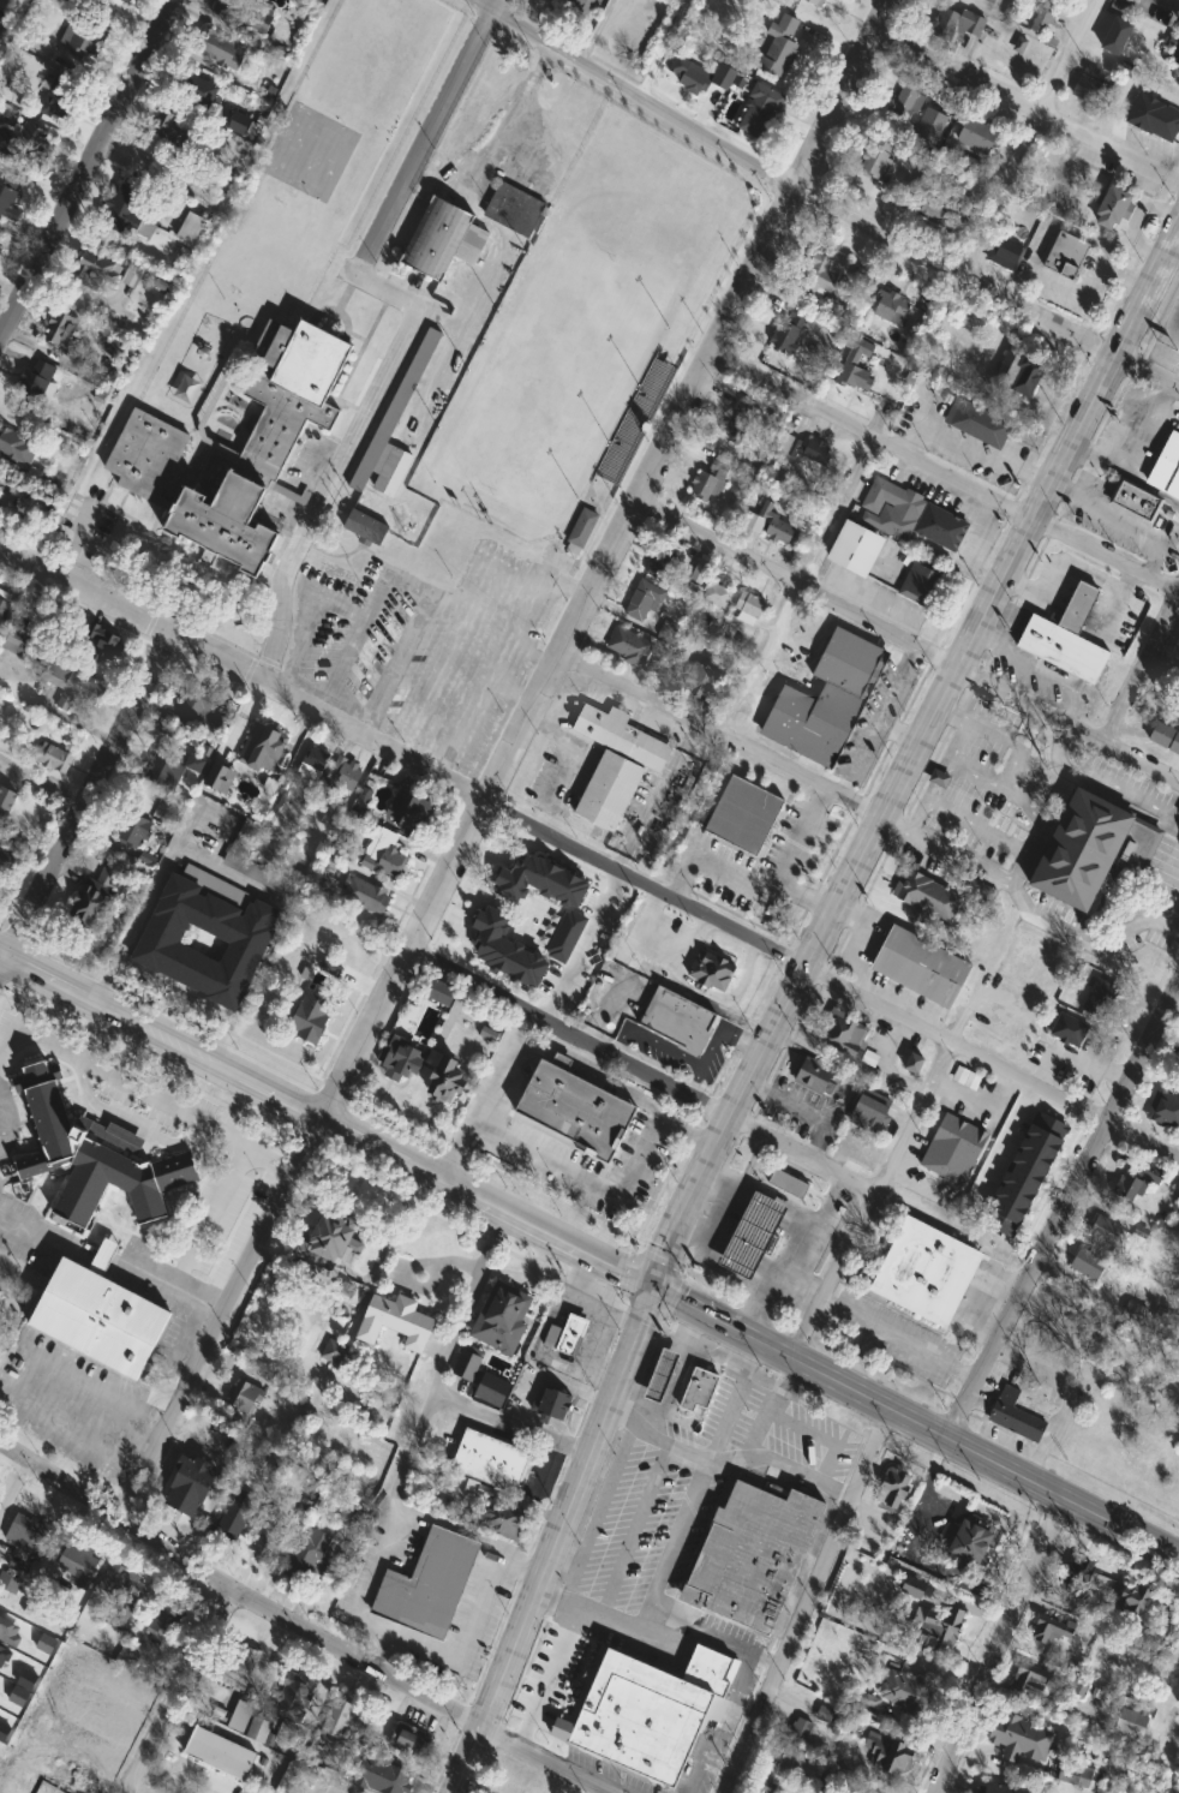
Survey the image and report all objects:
building: (815, 2)
building: (983, 2)
building: (576, 6)
building: (1121, 7)
building: (1012, 12)
building: (246, 13)
building: (956, 24)
building: (1041, 24)
building: (1115, 34)
building: (78, 38)
building: (1174, 46)
road: (662, 47)
building: (779, 47)
building: (221, 50)
road: (1069, 55)
building: (700, 73)
building: (1089, 86)
building: (908, 98)
building: (55, 100)
road: (1027, 101)
building: (760, 112)
building: (1151, 114)
building: (188, 118)
building: (929, 124)
building: (977, 136)
building: (20, 142)
park: (310, 150)
building: (878, 159)
road: (88, 165)
building: (11, 195)
building: (1112, 204)
road: (824, 205)
building: (515, 207)
building: (941, 209)
building: (128, 210)
road: (1133, 220)
building: (729, 223)
building: (192, 227)
road: (498, 233)
building: (443, 238)
building: (2, 249)
building: (714, 251)
building: (1066, 252)
building: (1004, 253)
building: (96, 271)
building: (132, 276)
building: (821, 277)
building: (700, 280)
road: (1019, 286)
road: (1093, 294)
building: (887, 305)
road: (438, 316)
road: (411, 324)
building: (62, 330)
building: (789, 330)
building: (851, 370)
building: (1021, 375)
park: (552, 379)
building: (405, 386)
building: (37, 387)
road: (209, 404)
building: (977, 420)
road: (179, 422)
building: (740, 424)
building: (17, 446)
road: (971, 447)
building: (806, 450)
building: (146, 454)
building: (616, 459)
building: (1166, 468)
road: (945, 470)
building: (0, 474)
parking lot: (301, 477)
building: (708, 482)
building: (1135, 501)
building: (892, 506)
parking lot: (88, 525)
building: (365, 525)
building: (940, 525)
building: (774, 527)
building: (580, 528)
road: (77, 540)
building: (854, 545)
building: (663, 562)
building: (921, 579)
road: (806, 588)
road: (432, 590)
building: (717, 593)
building: (645, 599)
building: (748, 605)
building: (1077, 608)
building: (2, 609)
road: (353, 640)
building: (17, 643)
building: (104, 644)
road: (906, 644)
parking lot: (427, 645)
building: (628, 647)
building: (1063, 650)
road: (402, 652)
road: (1141, 664)
road: (1033, 668)
building: (701, 679)
road: (896, 683)
building: (71, 685)
building: (826, 700)
building: (193, 706)
road: (474, 710)
road: (951, 711)
road: (1030, 727)
road: (993, 731)
building: (621, 734)
road: (717, 734)
road: (868, 737)
building: (50, 757)
road: (502, 759)
building: (313, 764)
building: (163, 772)
building: (343, 776)
road: (38, 777)
road: (1101, 781)
parking lot: (987, 785)
building: (606, 788)
road: (654, 794)
road: (78, 795)
road: (475, 796)
building: (5, 805)
building: (409, 812)
building: (744, 817)
building: (245, 835)
building: (1090, 847)
road: (1015, 848)
building: (383, 853)
road: (789, 859)
building: (7, 861)
road: (1019, 867)
road: (719, 868)
road: (225, 875)
building: (539, 879)
building: (365, 896)
building: (924, 898)
building: (94, 901)
road: (144, 901)
road: (1023, 901)
building: (240, 931)
building: (565, 934)
road: (582, 944)
building: (505, 948)
building: (921, 967)
building: (653, 970)
building: (712, 972)
building: (439, 992)
building: (1099, 997)
road: (789, 999)
road: (192, 1000)
building: (309, 1017)
building: (677, 1022)
building: (1069, 1030)
road: (94, 1034)
building: (842, 1034)
building: (400, 1062)
building: (912, 1064)
road: (642, 1071)
building: (815, 1077)
building: (442, 1080)
road: (140, 1089)
road: (486, 1098)
road: (1065, 1101)
building: (571, 1108)
building: (1166, 1111)
building: (870, 1113)
road: (130, 1120)
road: (323, 1122)
building: (953, 1147)
road: (645, 1148)
building: (89, 1157)
building: (796, 1182)
building: (1137, 1182)
road: (719, 1194)
road: (874, 1201)
road: (1059, 1209)
road: (760, 1213)
road: (209, 1214)
road: (792, 1229)
building: (1105, 1230)
road: (19, 1231)
road: (701, 1236)
building: (750, 1236)
building: (327, 1237)
road: (795, 1256)
road: (741, 1257)
building: (1088, 1263)
building: (924, 1269)
road: (790, 1283)
road: (173, 1285)
traffic signals: (648, 1286)
building: (100, 1315)
building: (503, 1320)
building: (394, 1322)
building: (565, 1335)
road: (899, 1338)
road: (688, 1350)
building: (466, 1365)
road: (14, 1368)
building: (659, 1376)
road: (438, 1381)
building: (698, 1391)
road: (1071, 1392)
building: (244, 1397)
road: (768, 1405)
building: (552, 1406)
building: (1016, 1416)
road: (660, 1417)
road: (912, 1422)
parking lot: (772, 1428)
road: (682, 1445)
road: (412, 1451)
building: (490, 1462)
road: (782, 1469)
road: (13, 1486)
building: (188, 1487)
building: (892, 1488)
building: (237, 1514)
building: (502, 1519)
road: (684, 1519)
road: (390, 1524)
parking lot: (644, 1525)
building: (28, 1531)
building: (268, 1541)
building: (969, 1543)
building: (749, 1555)
building: (307, 1558)
building: (78, 1560)
building: (1085, 1579)
building: (8, 1582)
building: (429, 1586)
building: (121, 1590)
road: (803, 1600)
building: (1132, 1601)
building: (166, 1614)
road: (300, 1625)
building: (1053, 1631)
building: (934, 1632)
road: (716, 1634)
road: (466, 1637)
road: (995, 1644)
road: (553, 1656)
building: (240, 1666)
building: (1033, 1680)
road: (181, 1691)
building: (906, 1692)
building: (295, 1695)
building: (1178, 1696)
building: (1178, 1703)
building: (651, 1714)
building: (339, 1716)
building: (1131, 1725)
building: (258, 1731)
building: (1019, 1739)
building: (407, 1740)
building: (38, 1751)
building: (219, 1753)
building: (888, 1756)
building: (798, 1763)
road: (295, 1776)
building: (381, 1777)
road: (334, 1779)
building: (999, 1789)
road: (131, 1792)

